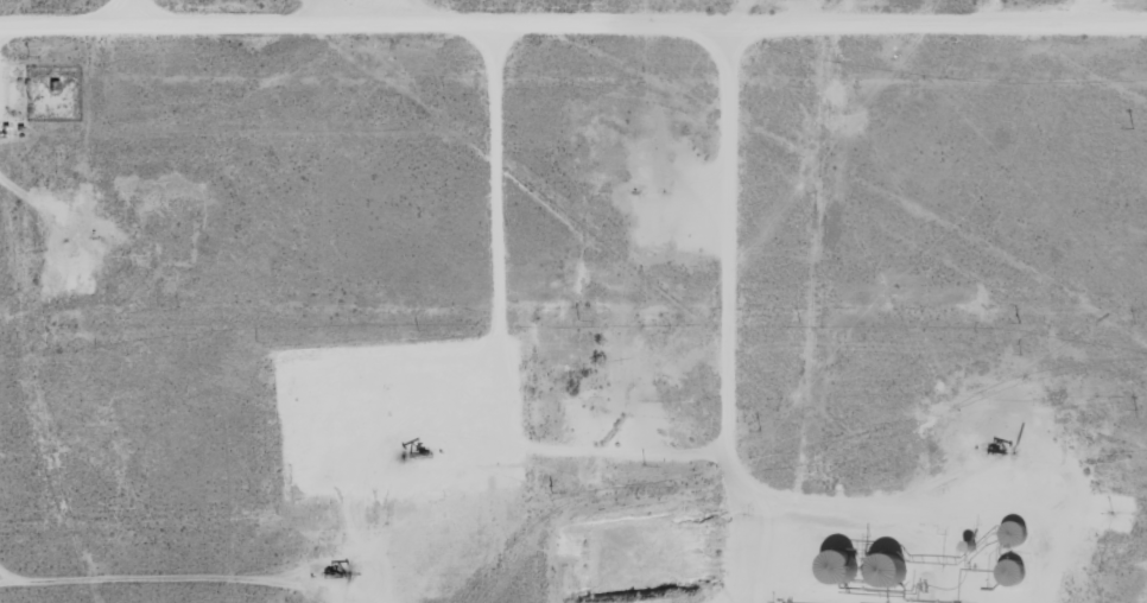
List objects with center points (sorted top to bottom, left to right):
road: (1096, 13)
road: (572, 27)
road: (731, 317)
river: (103, 540)

